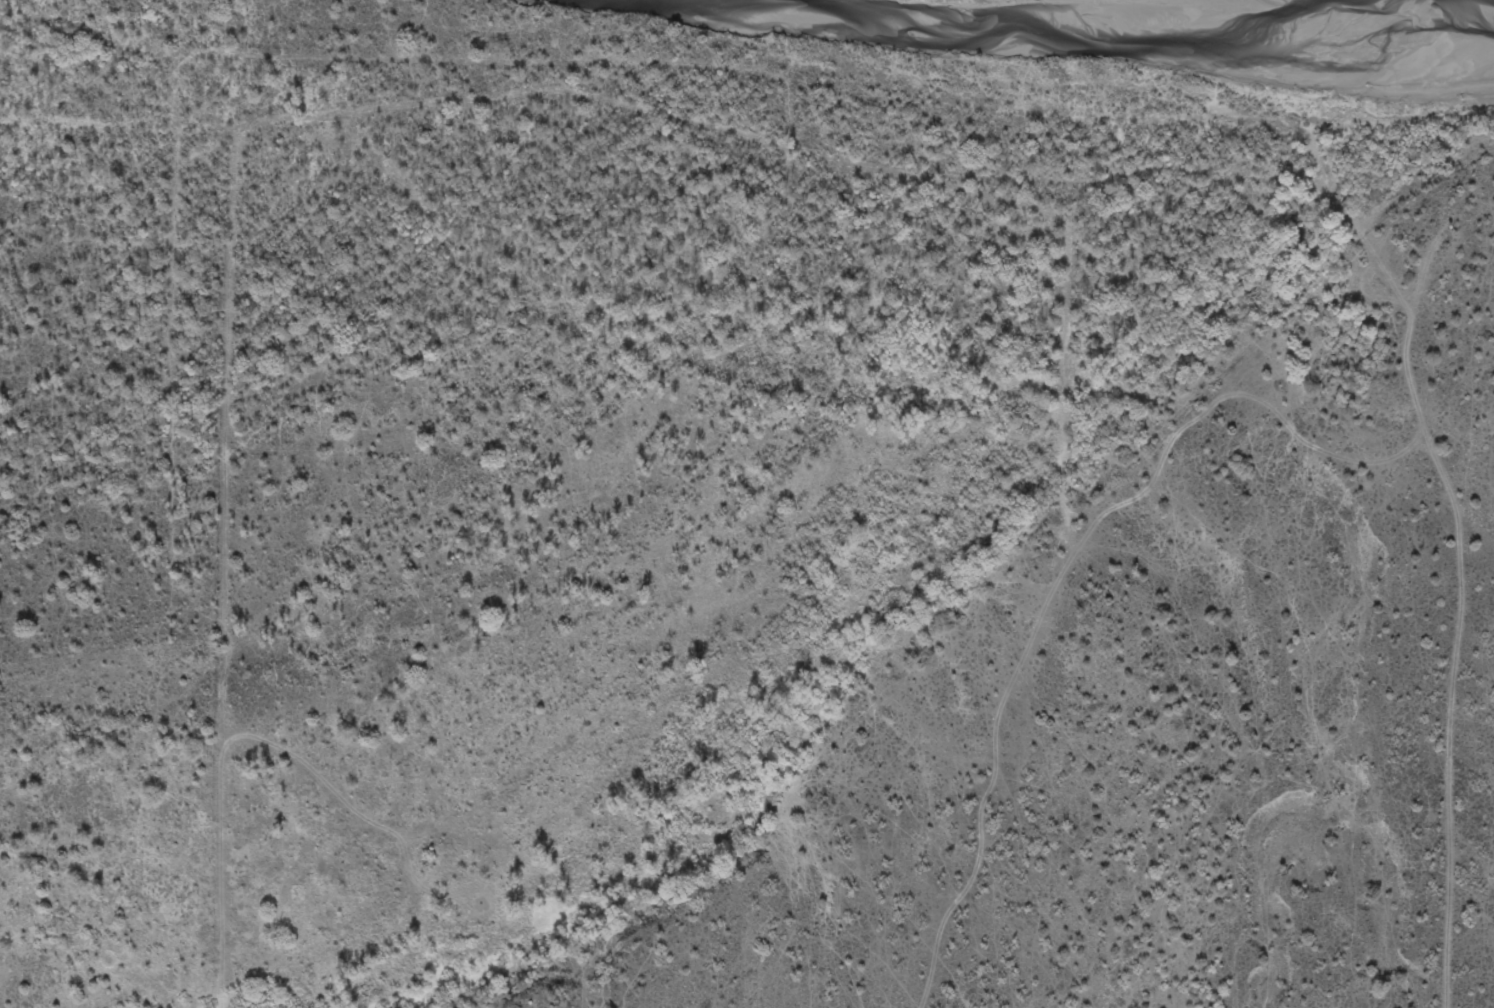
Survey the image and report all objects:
river: (1305, 100)
road: (1476, 685)

